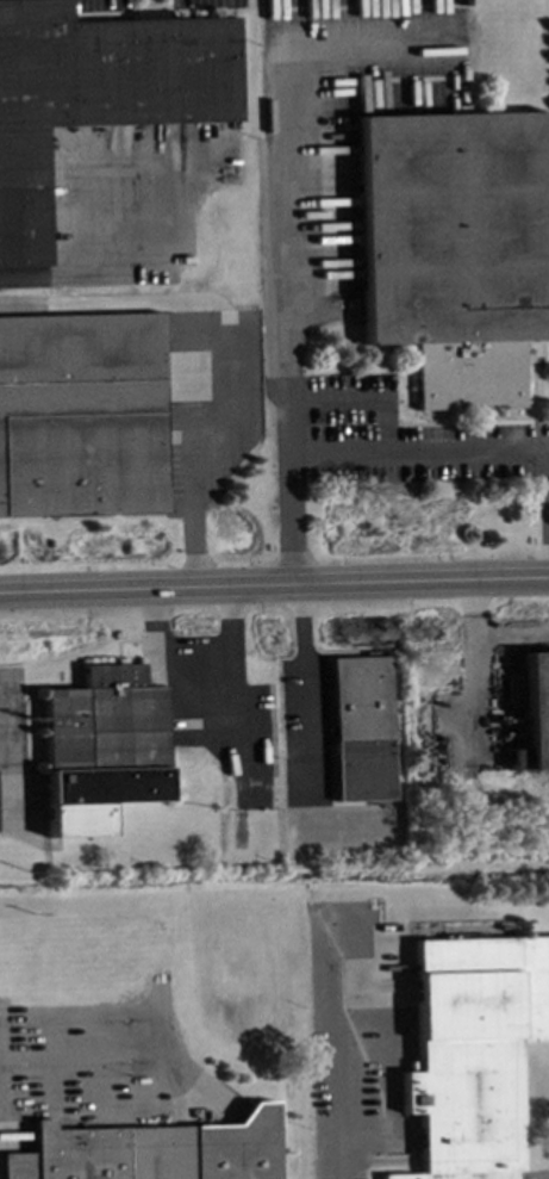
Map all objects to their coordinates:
building: (96, 92)
building: (456, 247)
road: (99, 280)
road: (289, 317)
building: (81, 414)
road: (445, 451)
road: (195, 504)
road: (274, 588)
road: (488, 634)
road: (196, 688)
road: (305, 691)
building: (535, 713)
building: (360, 727)
building: (101, 746)
building: (472, 1050)
road: (339, 1054)
building: (150, 1150)

